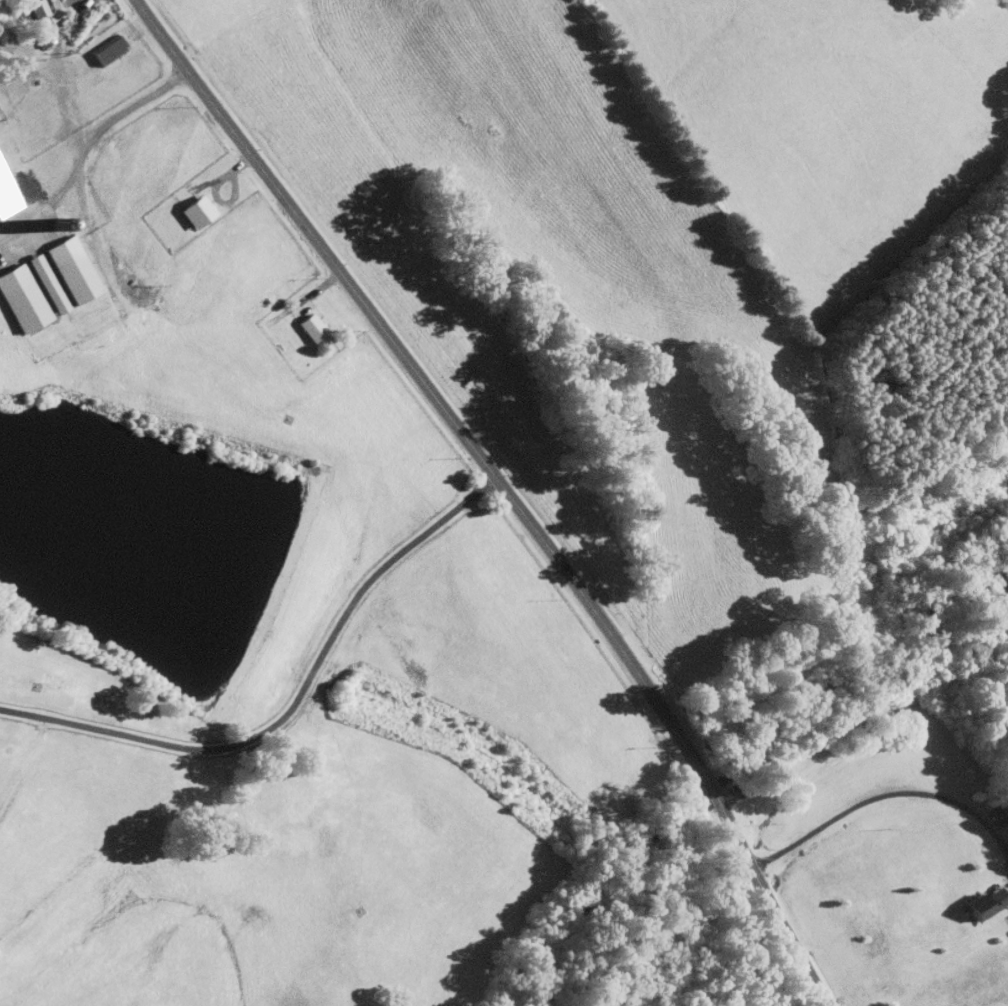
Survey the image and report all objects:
building: (35, 7)
building: (107, 49)
crop: (826, 126)
road: (85, 146)
building: (7, 192)
building: (195, 210)
building: (72, 268)
building: (46, 282)
building: (21, 298)
building: (310, 326)
road: (421, 384)
road: (950, 494)
road: (849, 516)
crop: (935, 525)
road: (867, 539)
road: (860, 580)
road: (771, 683)
road: (289, 703)
road: (710, 792)
road: (881, 794)
building: (985, 903)
road: (770, 907)

